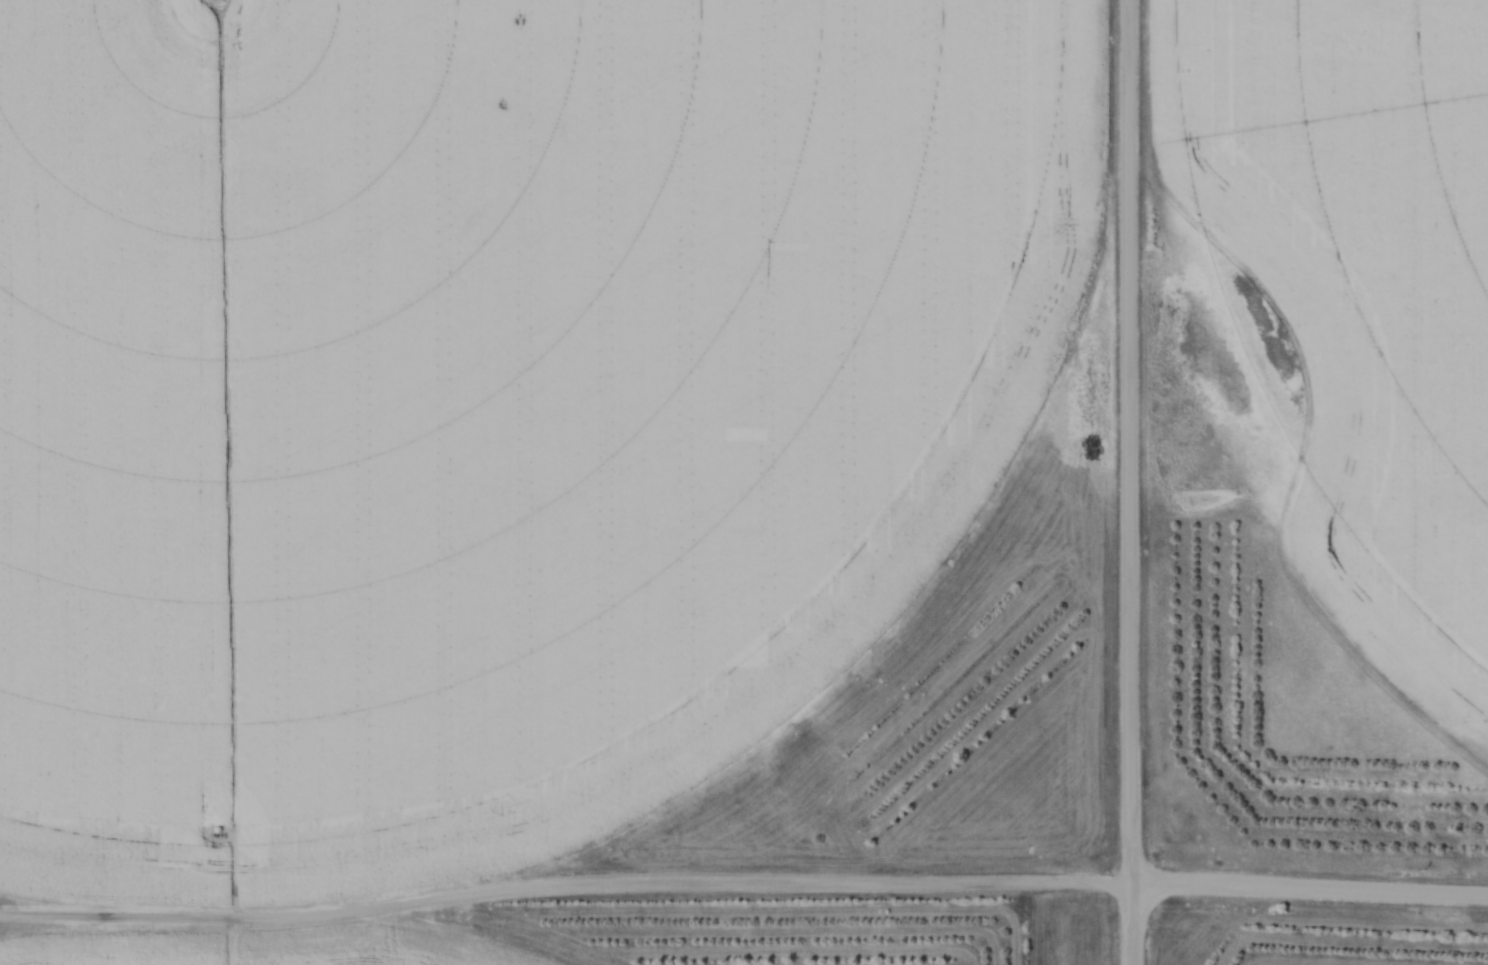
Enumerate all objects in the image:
road: (1128, 443)
road: (744, 892)
road: (1131, 926)
airport runway: (1076, 939)

